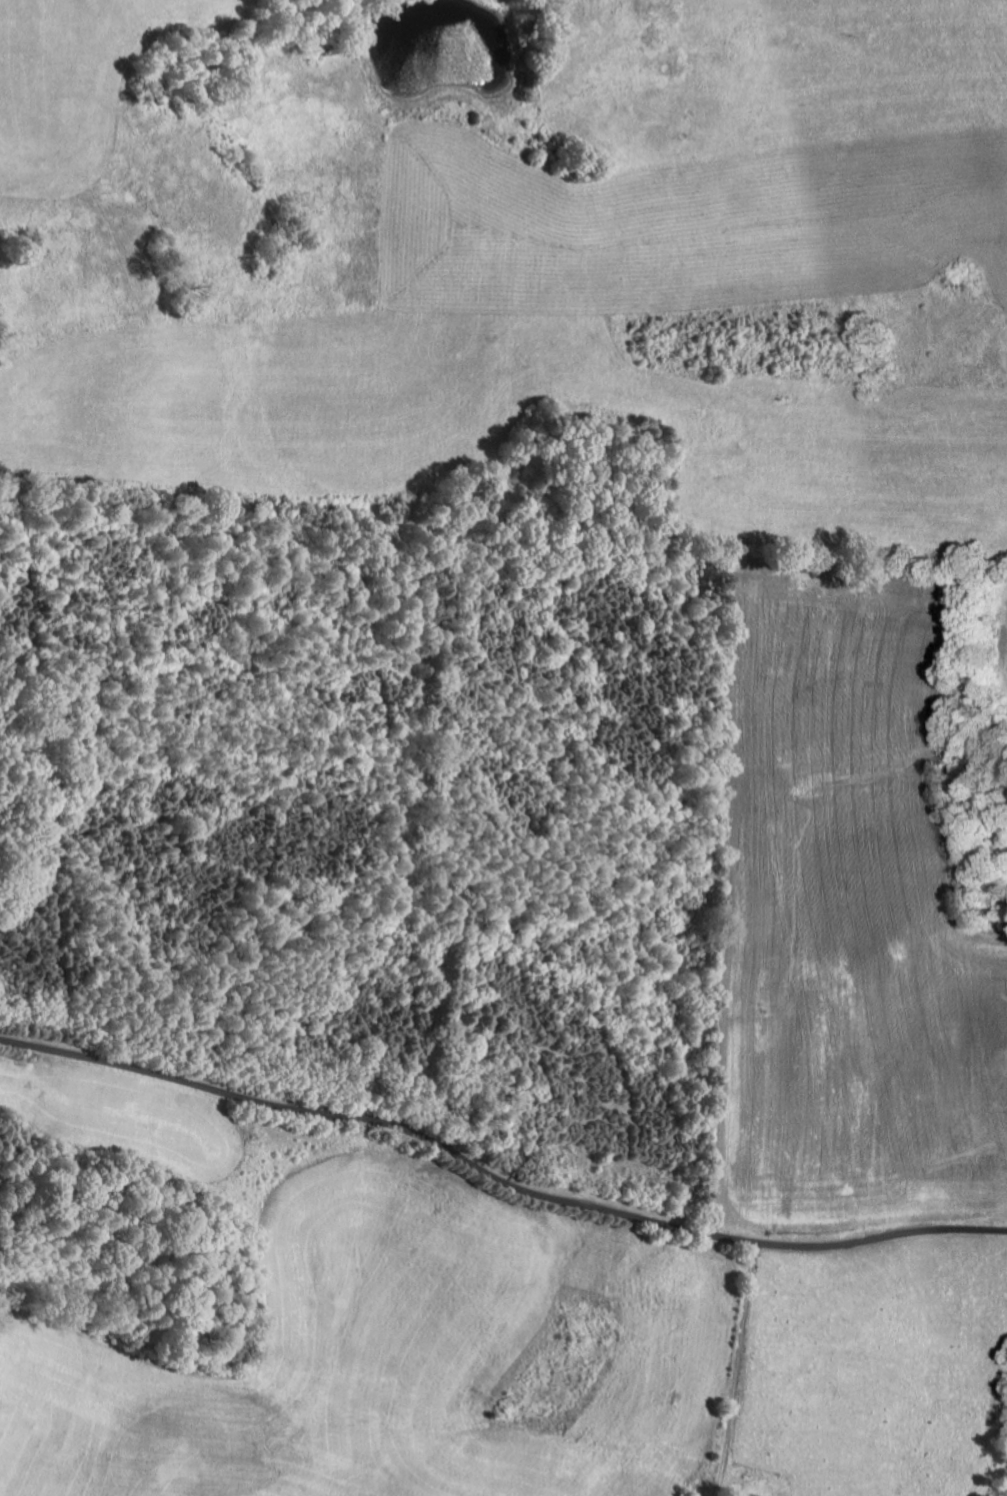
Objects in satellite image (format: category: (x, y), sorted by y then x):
road: (497, 1178)
road: (702, 1367)

